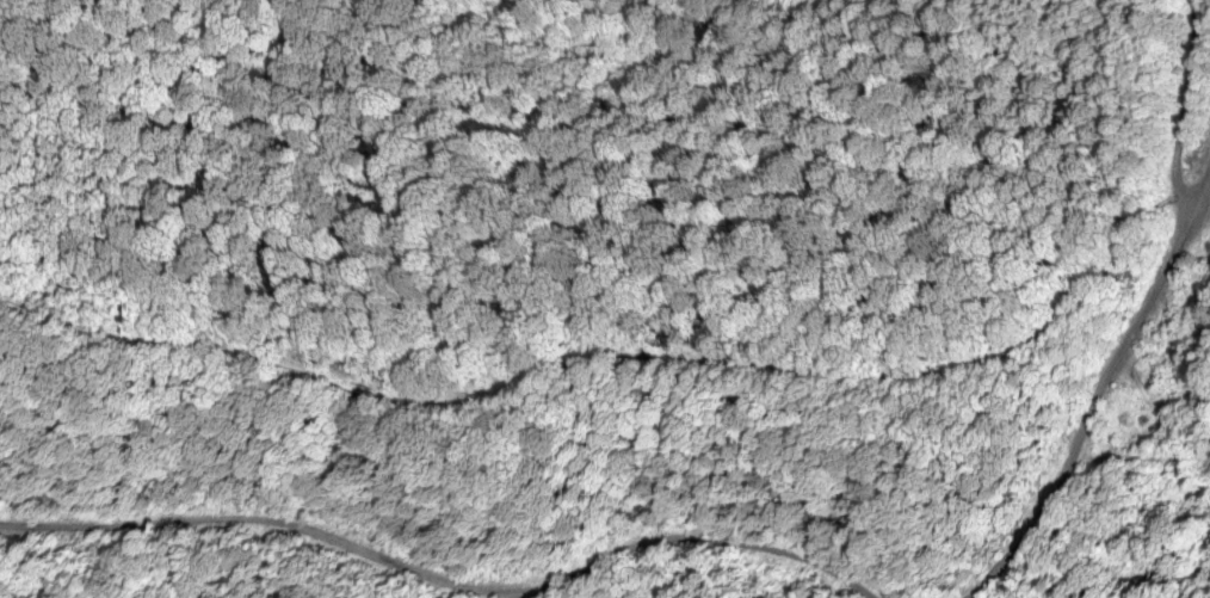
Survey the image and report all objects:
road: (1183, 110)
road: (567, 349)
road: (1105, 388)
road: (443, 577)

